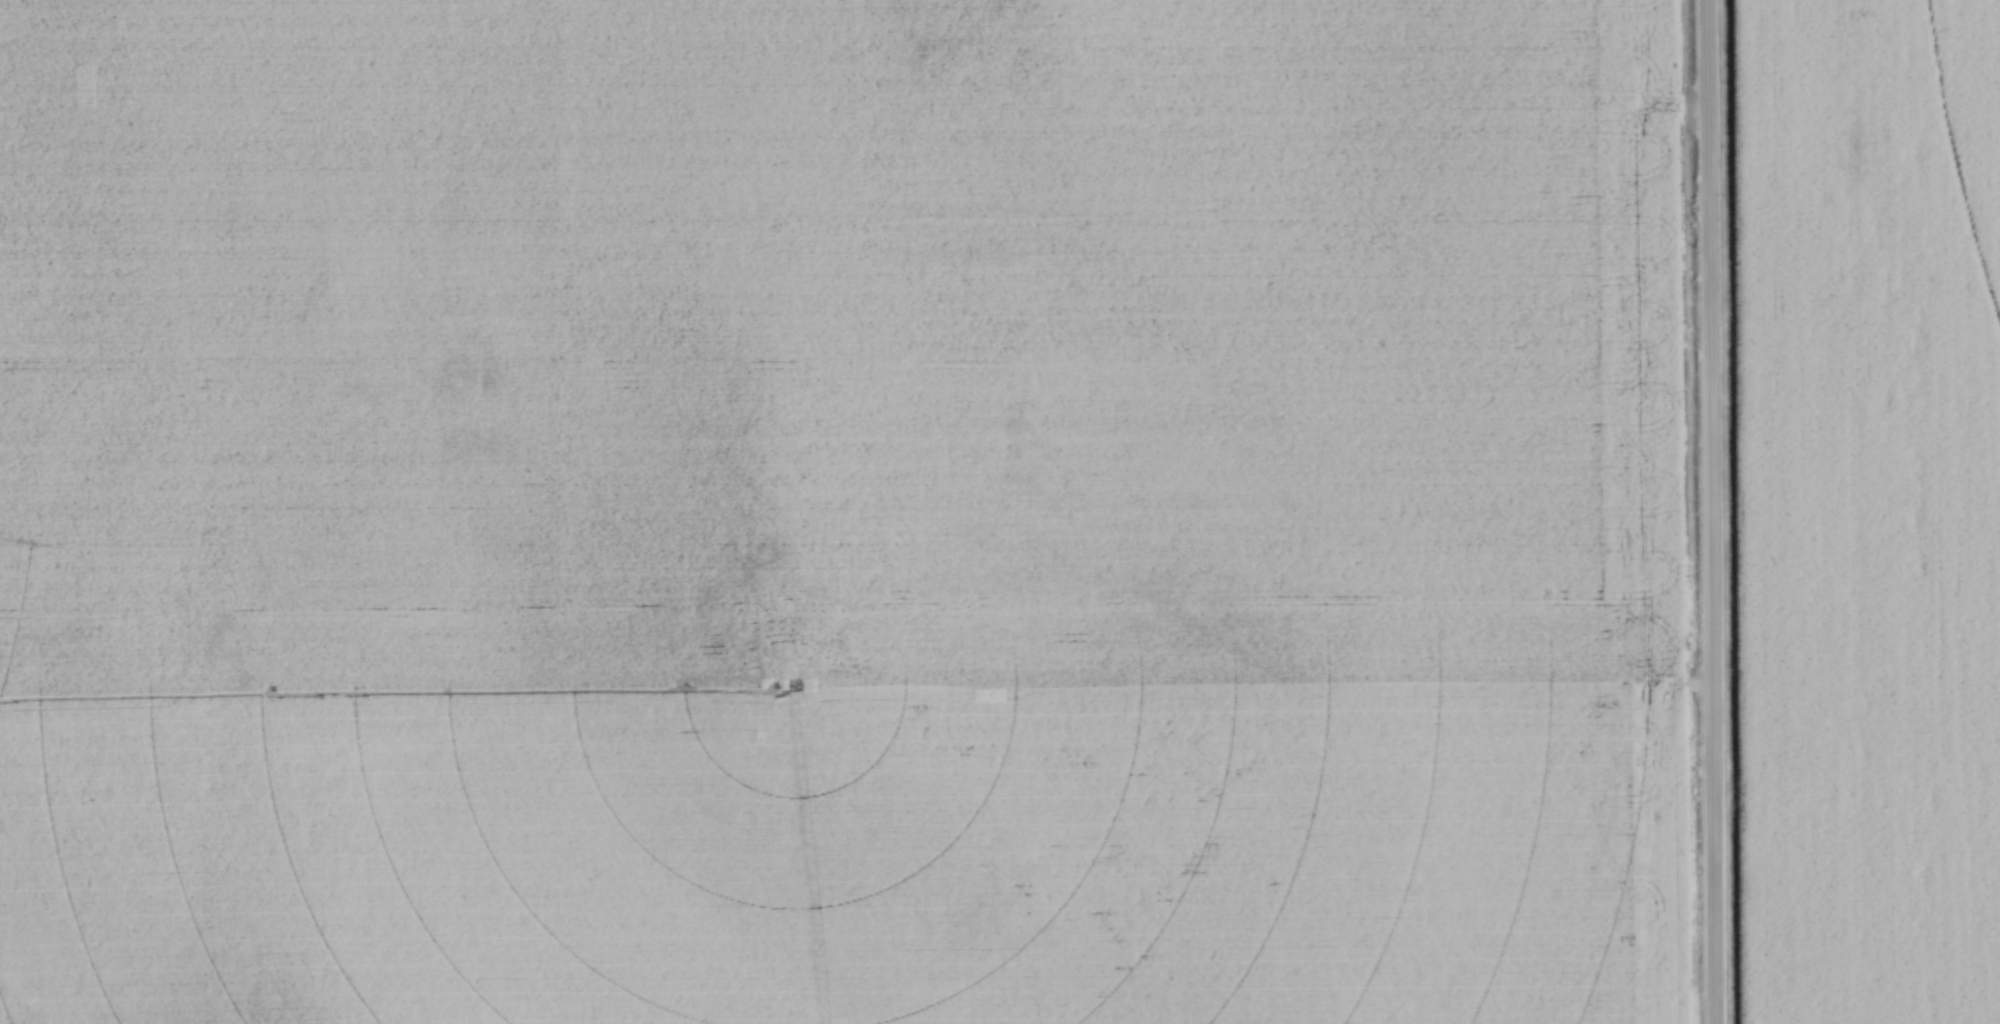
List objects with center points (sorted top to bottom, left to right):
road: (1709, 512)

